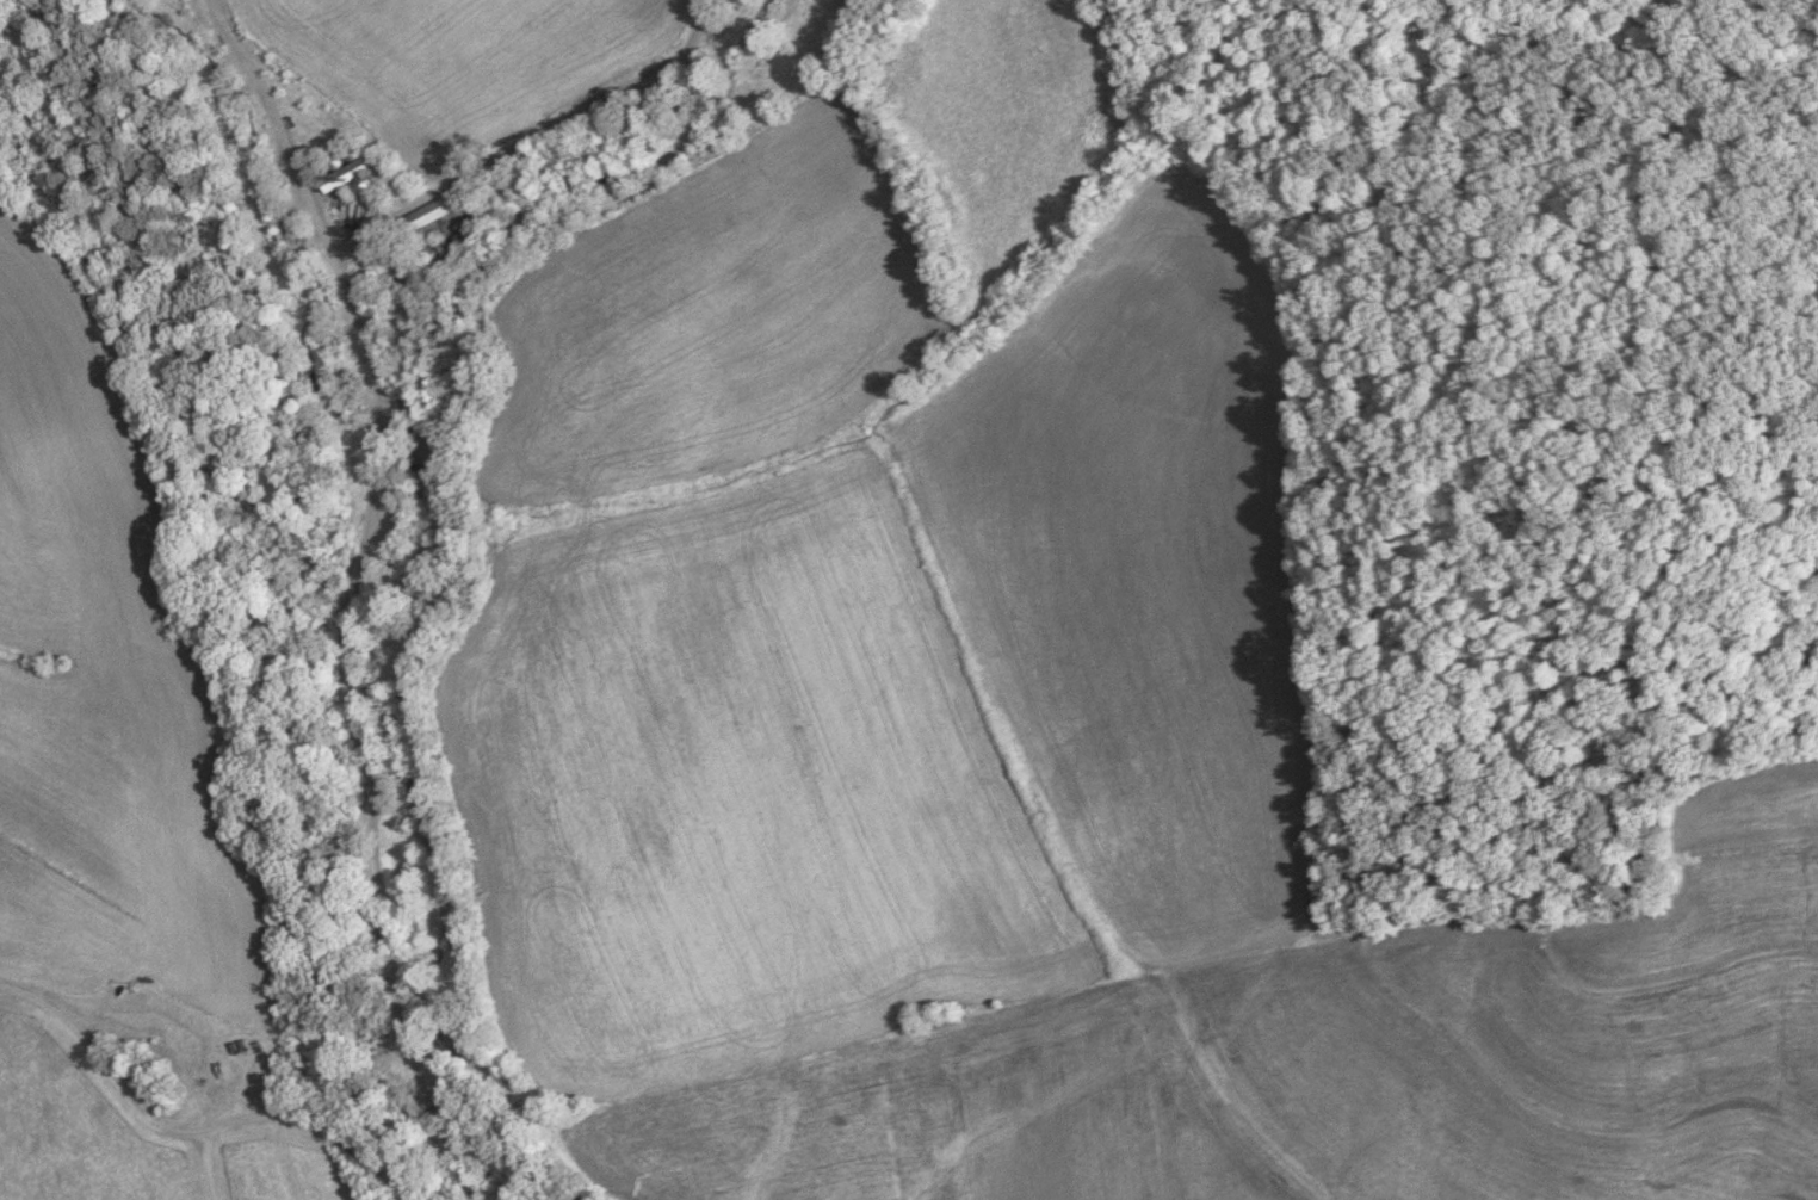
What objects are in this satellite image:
building: (654, 95)
road: (274, 125)
road: (532, 142)
building: (350, 174)
building: (431, 211)
road: (354, 736)
road: (193, 1137)
road: (218, 1165)

